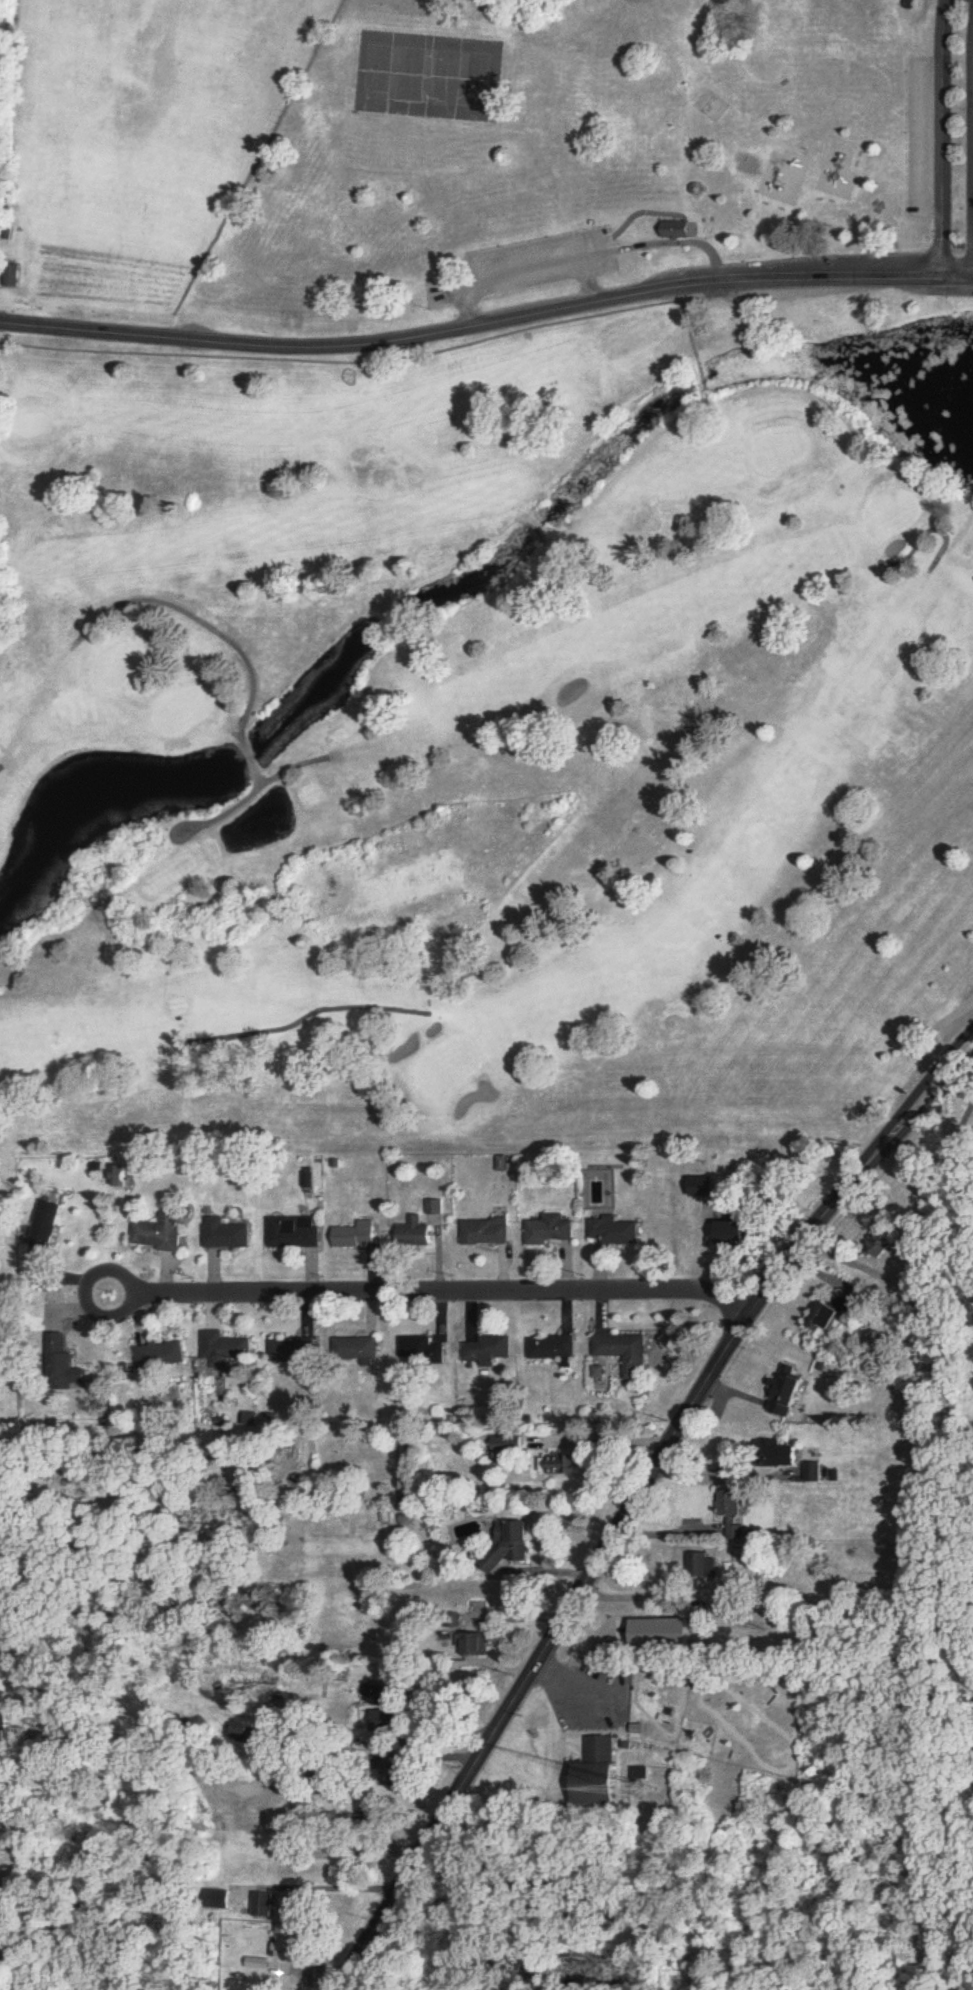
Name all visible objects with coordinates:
park: (371, 71)
park: (407, 74)
park: (443, 77)
park: (480, 81)
road: (971, 98)
road: (941, 132)
parking lot: (916, 136)
park: (467, 153)
building: (676, 228)
road: (873, 240)
road: (939, 241)
road: (957, 241)
road: (969, 241)
road: (579, 257)
parking lot: (523, 270)
building: (9, 274)
road: (589, 279)
road: (488, 323)
river: (461, 574)
park: (484, 732)
road: (941, 1021)
road: (960, 1040)
road: (950, 1159)
building: (708, 1189)
building: (552, 1230)
building: (46, 1232)
building: (487, 1233)
building: (159, 1234)
building: (295, 1234)
building: (615, 1234)
building: (416, 1235)
building: (735, 1235)
building: (227, 1236)
building: (356, 1236)
building: (879, 1244)
road: (427, 1285)
building: (834, 1307)
building: (551, 1349)
building: (355, 1351)
building: (488, 1351)
building: (229, 1352)
building: (293, 1352)
building: (422, 1352)
building: (623, 1353)
building: (160, 1356)
building: (68, 1374)
building: (786, 1394)
road: (616, 1437)
building: (506, 1445)
building: (785, 1456)
building: (559, 1465)
building: (810, 1473)
road: (715, 1477)
road: (630, 1511)
building: (731, 1516)
building: (511, 1543)
building: (702, 1570)
road: (638, 1593)
building: (480, 1646)
building: (382, 1725)
building: (599, 1772)
road: (14, 1792)
road: (323, 1882)
building: (289, 1939)

